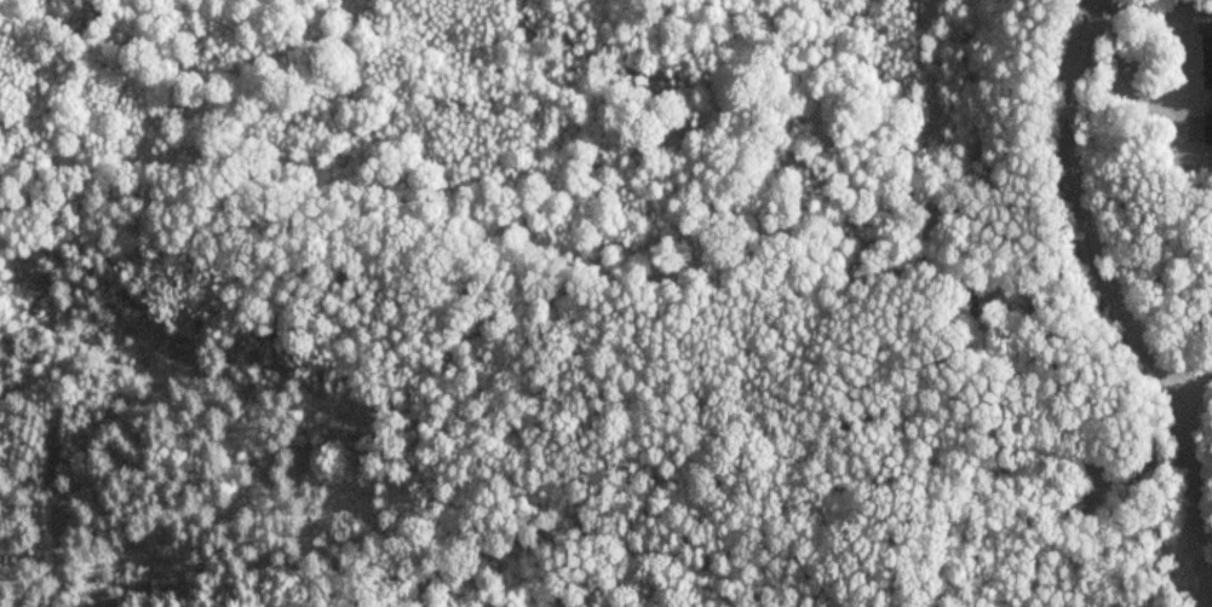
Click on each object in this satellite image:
building: (1207, 59)
building: (1207, 122)
road: (804, 167)
road: (1118, 306)
road: (1193, 385)

